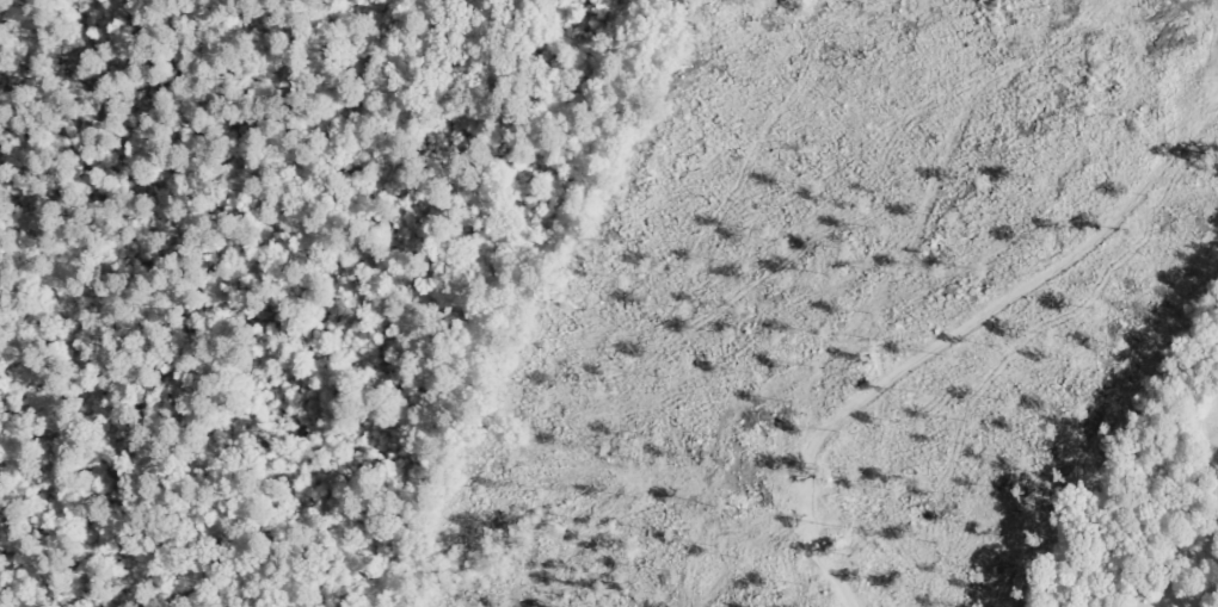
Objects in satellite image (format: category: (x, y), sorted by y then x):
road: (431, 498)

